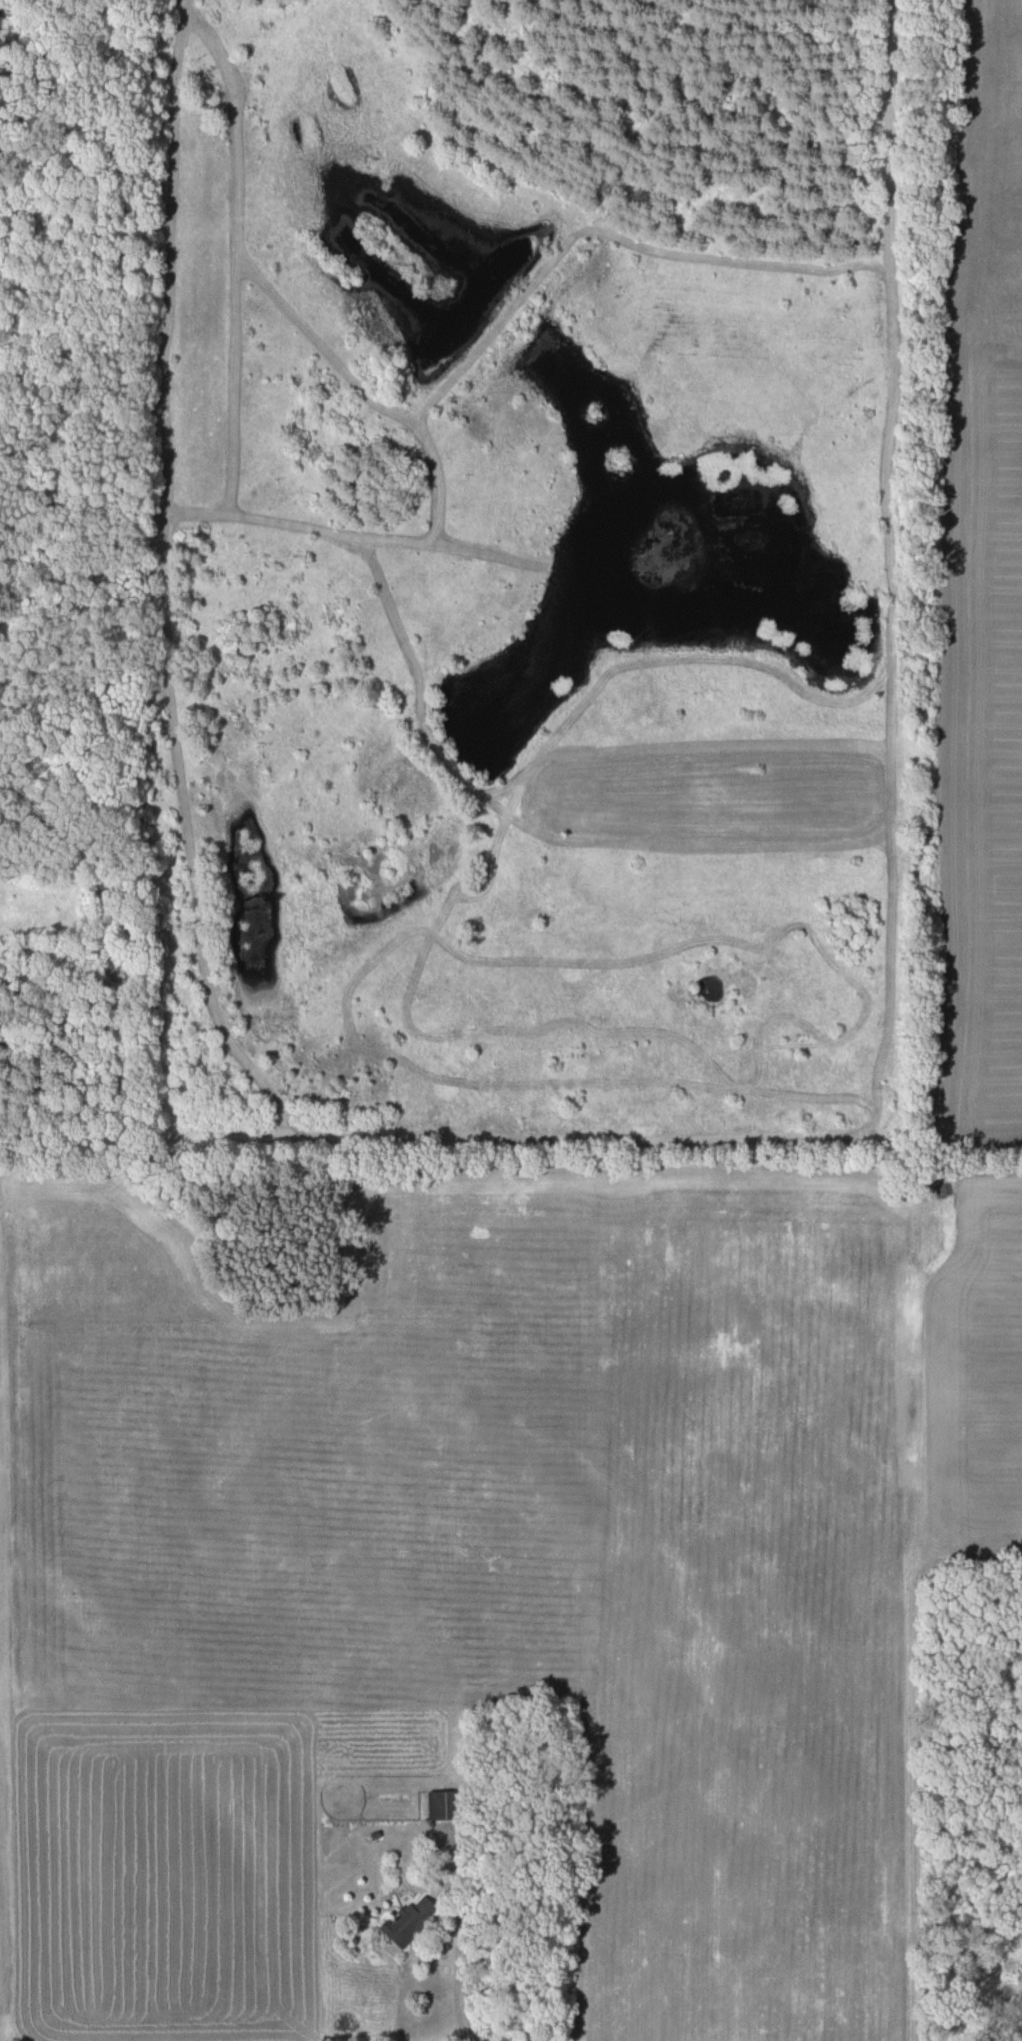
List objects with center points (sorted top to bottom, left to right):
building: (444, 1804)
building: (412, 1921)
road: (457, 1958)

